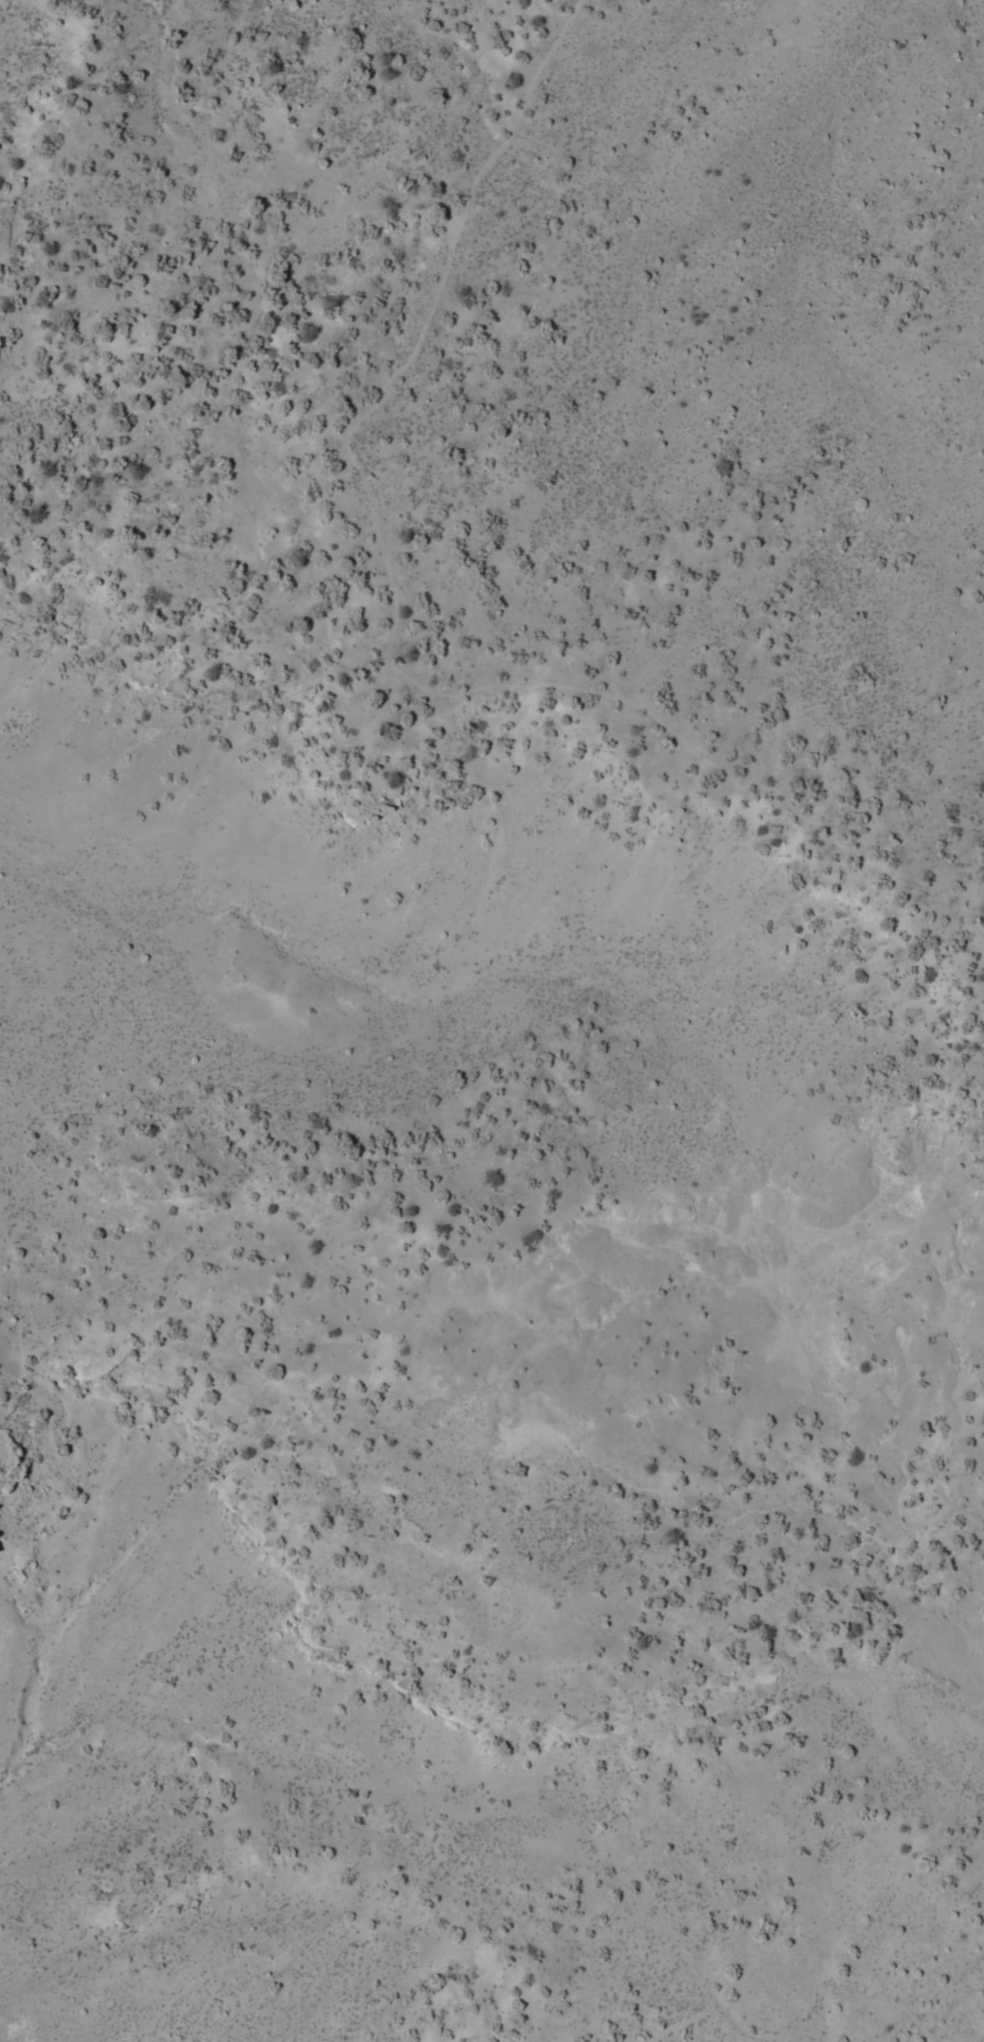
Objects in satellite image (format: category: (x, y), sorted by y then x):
road: (906, 1961)

